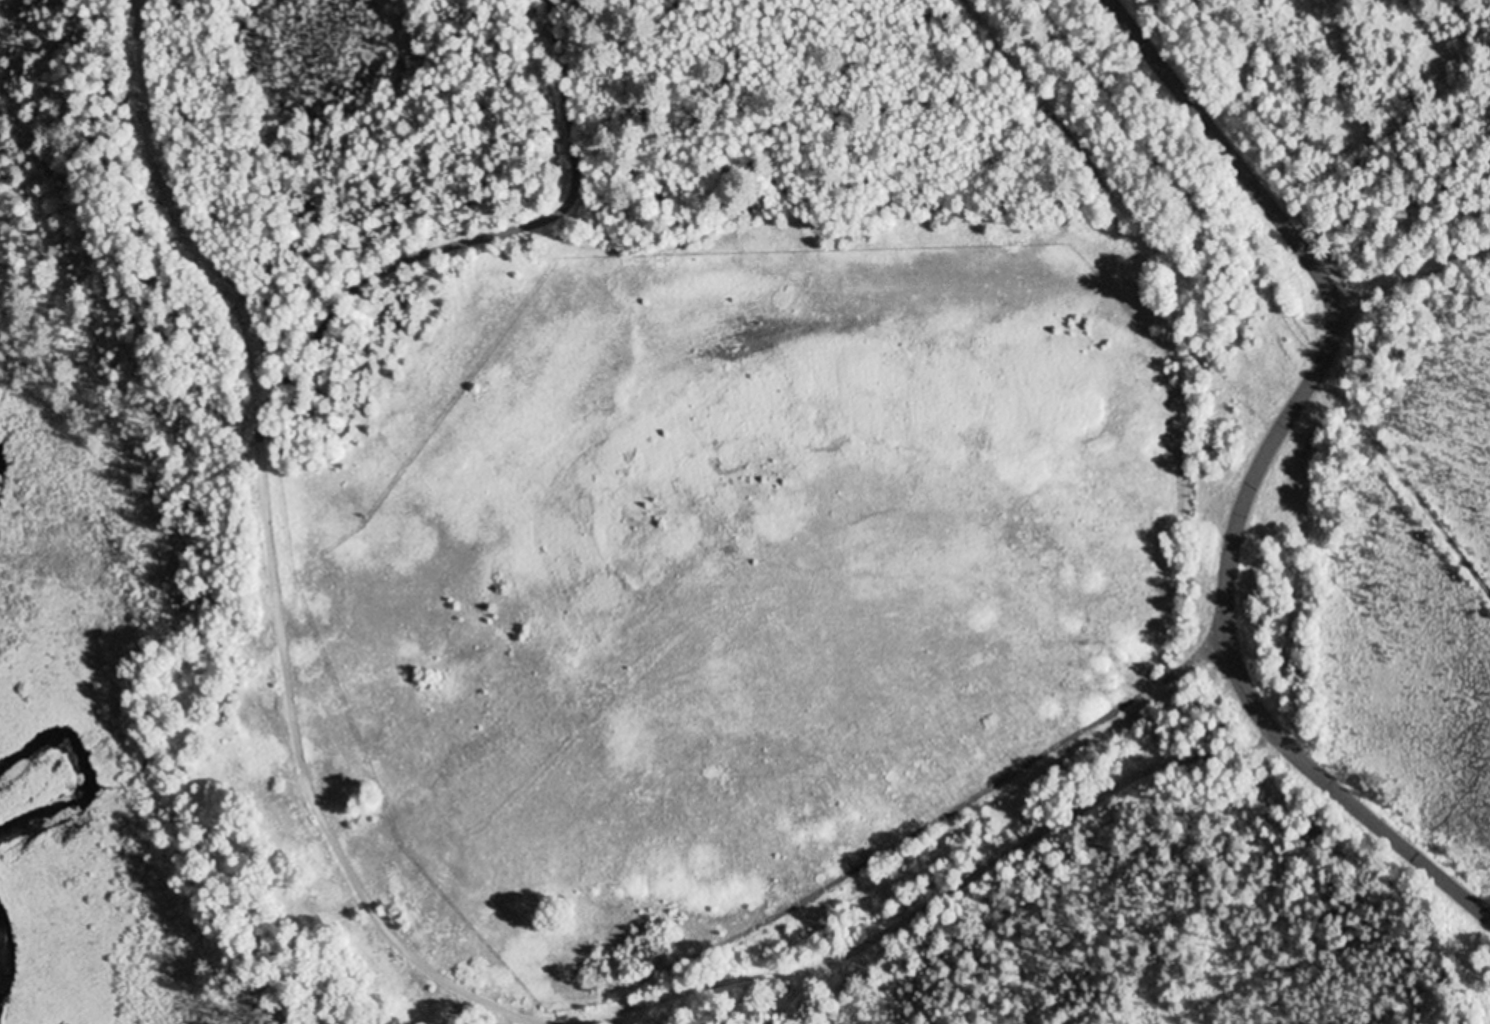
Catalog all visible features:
road: (1262, 468)
road: (258, 507)
road: (916, 832)
road: (605, 1017)

